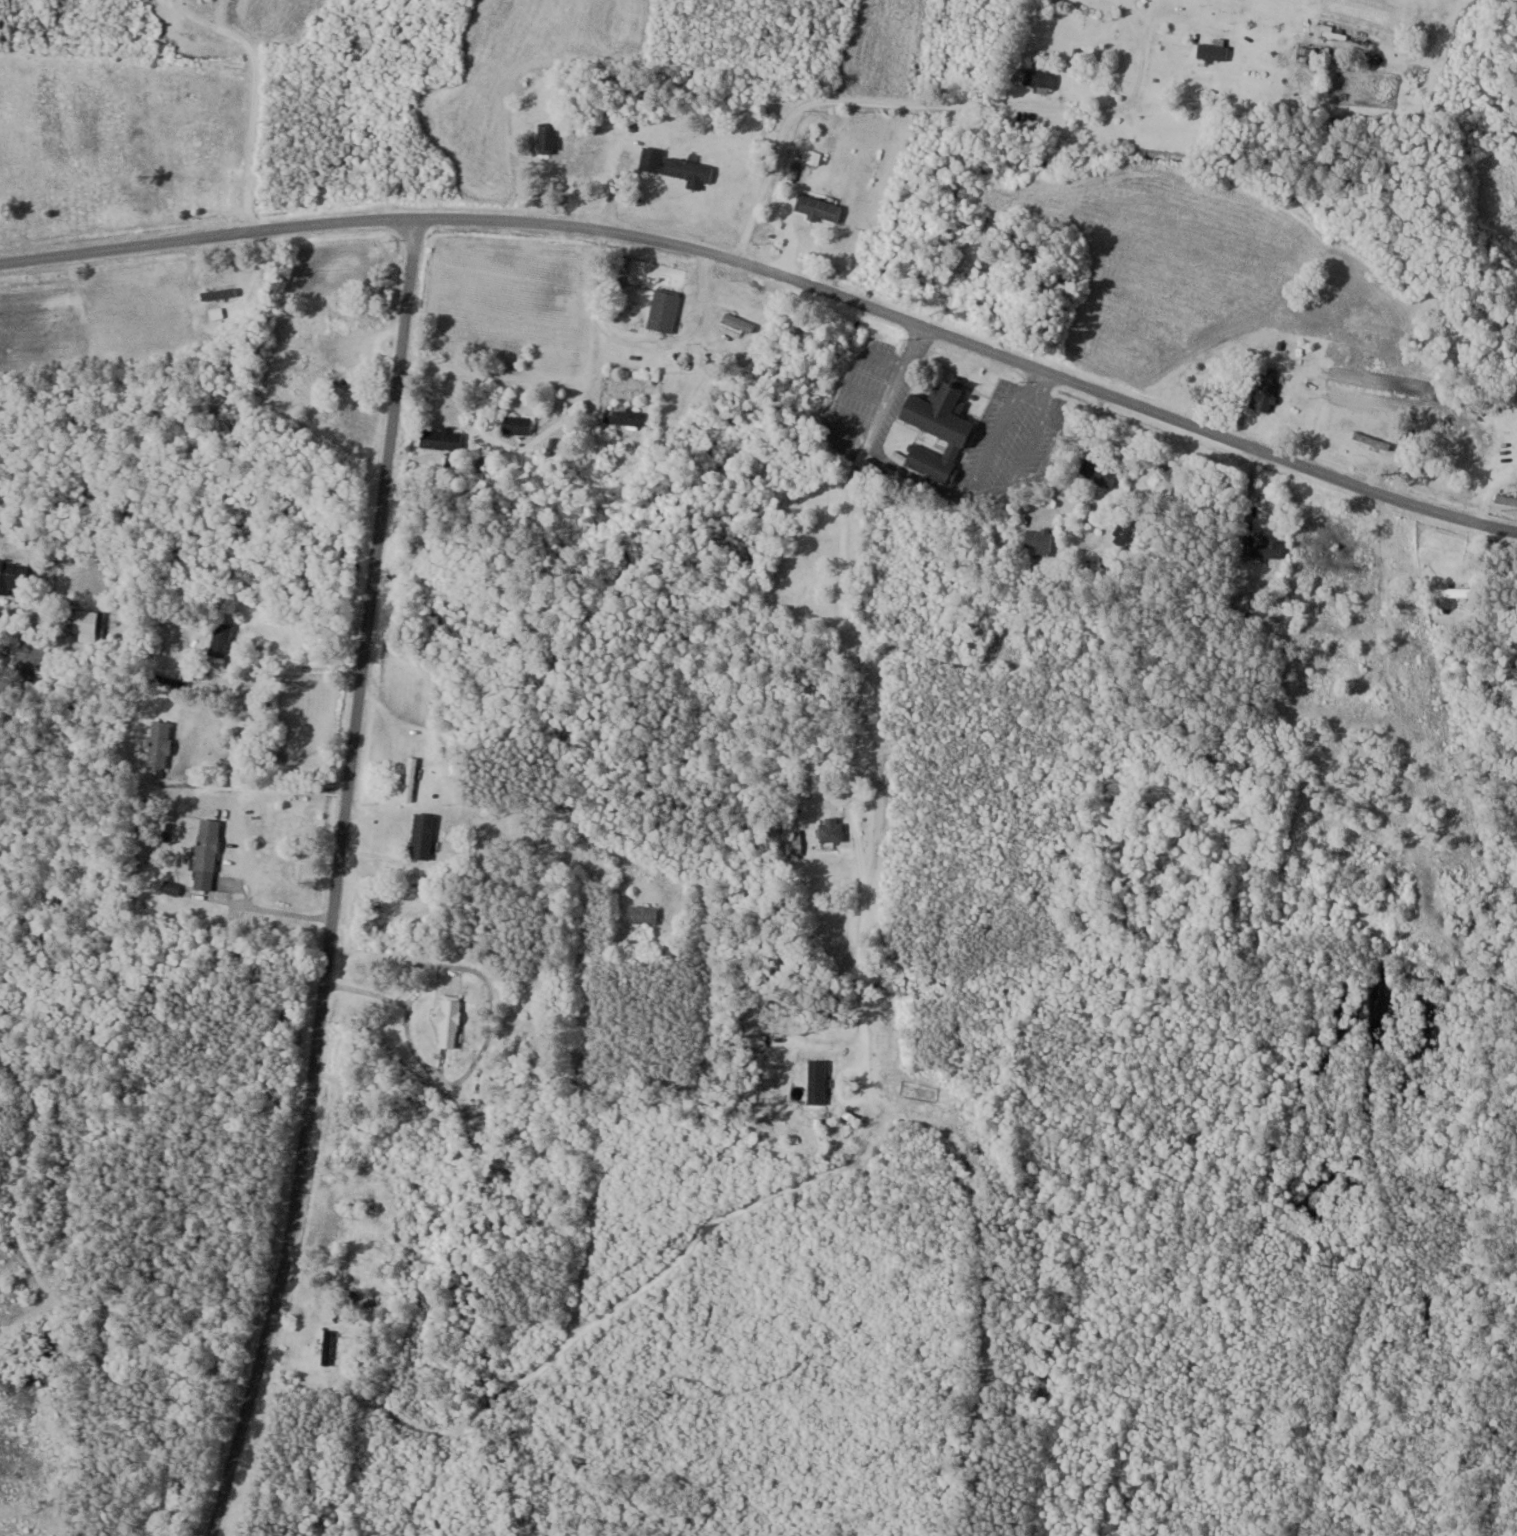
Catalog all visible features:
building: (1213, 51)
building: (1039, 81)
road: (254, 93)
road: (884, 99)
building: (547, 138)
building: (678, 168)
road: (720, 171)
road: (368, 182)
building: (818, 207)
road: (776, 274)
building: (663, 310)
building: (738, 322)
building: (1264, 394)
building: (625, 415)
building: (516, 423)
building: (937, 430)
building: (441, 437)
building: (1371, 440)
road: (873, 441)
building: (1474, 448)
road: (493, 460)
building: (1099, 471)
road: (988, 491)
building: (1128, 532)
building: (1038, 541)
building: (1266, 544)
building: (14, 568)
building: (1455, 590)
building: (1456, 621)
building: (86, 622)
road: (849, 632)
building: (219, 638)
road: (327, 650)
building: (31, 652)
road: (341, 653)
road: (334, 721)
building: (159, 743)
building: (409, 777)
road: (259, 784)
building: (831, 827)
building: (421, 834)
building: (206, 852)
road: (333, 879)
building: (171, 887)
road: (274, 909)
building: (643, 913)
road: (1282, 951)
building: (327, 1347)
road: (317, 1500)

